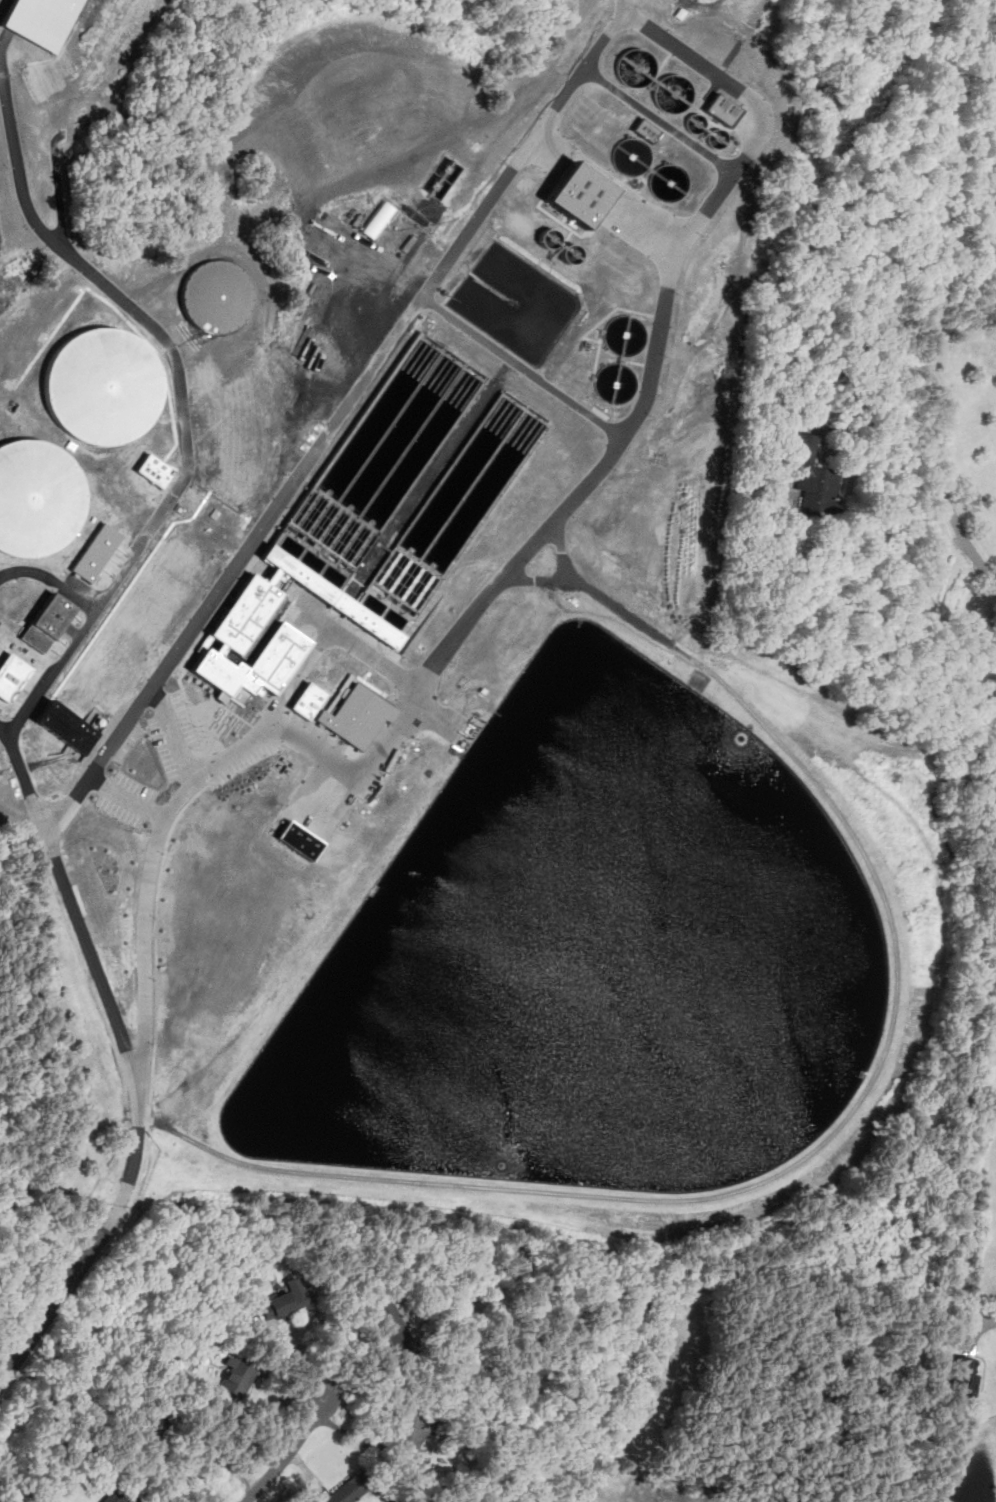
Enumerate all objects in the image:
road: (623, 4)
building: (634, 67)
storage tank: (634, 67)
road: (724, 75)
building: (673, 92)
storage tank: (673, 92)
building: (722, 109)
building: (695, 123)
storage tank: (695, 123)
building: (646, 130)
building: (717, 138)
storage tank: (717, 138)
building: (632, 158)
storage tank: (632, 158)
building: (669, 181)
storage tank: (669, 181)
building: (378, 219)
road: (692, 223)
building: (540, 275)
road: (98, 277)
building: (219, 298)
storage tank: (219, 298)
building: (627, 336)
storage tank: (627, 336)
building: (105, 385)
storage tank: (105, 385)
building: (617, 385)
storage tank: (617, 385)
road: (940, 409)
road: (341, 422)
road: (588, 428)
building: (381, 462)
building: (157, 469)
building: (812, 477)
building: (38, 498)
storage tank: (38, 498)
building: (456, 514)
building: (98, 552)
building: (304, 575)
road: (51, 578)
building: (249, 614)
building: (371, 621)
building: (50, 622)
road: (331, 638)
building: (12, 674)
building: (224, 676)
building: (310, 699)
building: (357, 715)
building: (69, 728)
road: (180, 743)
road: (7, 745)
road: (804, 770)
building: (301, 839)
building: (89, 841)
road: (81, 925)
building: (279, 1306)
road: (990, 1316)
building: (389, 1321)
building: (238, 1375)
building: (966, 1380)
building: (155, 1427)
building: (412, 1428)
road: (356, 1436)
road: (286, 1454)
road: (215, 1462)
building: (350, 1489)
building: (112, 1497)

